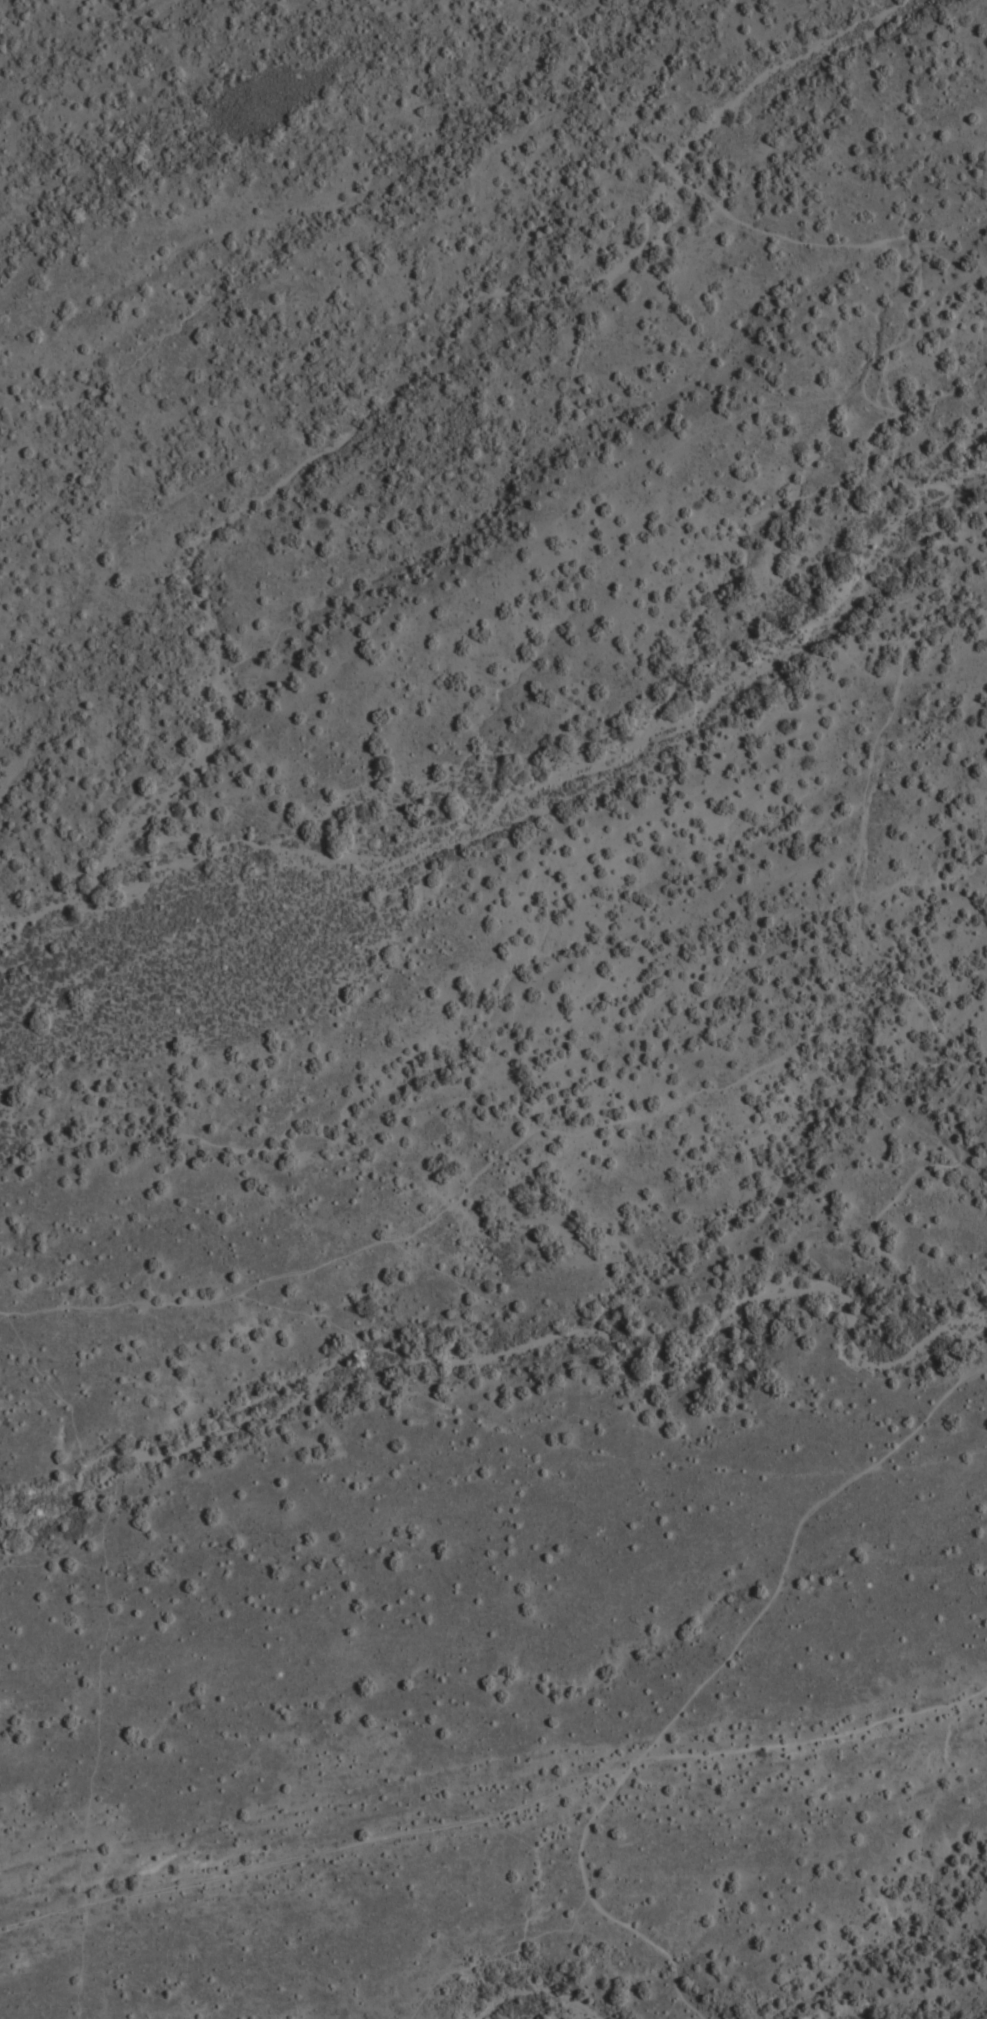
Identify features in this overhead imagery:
road: (928, 999)
road: (570, 1131)
road: (961, 1337)
road: (492, 1357)
road: (983, 1360)
road: (814, 1735)

